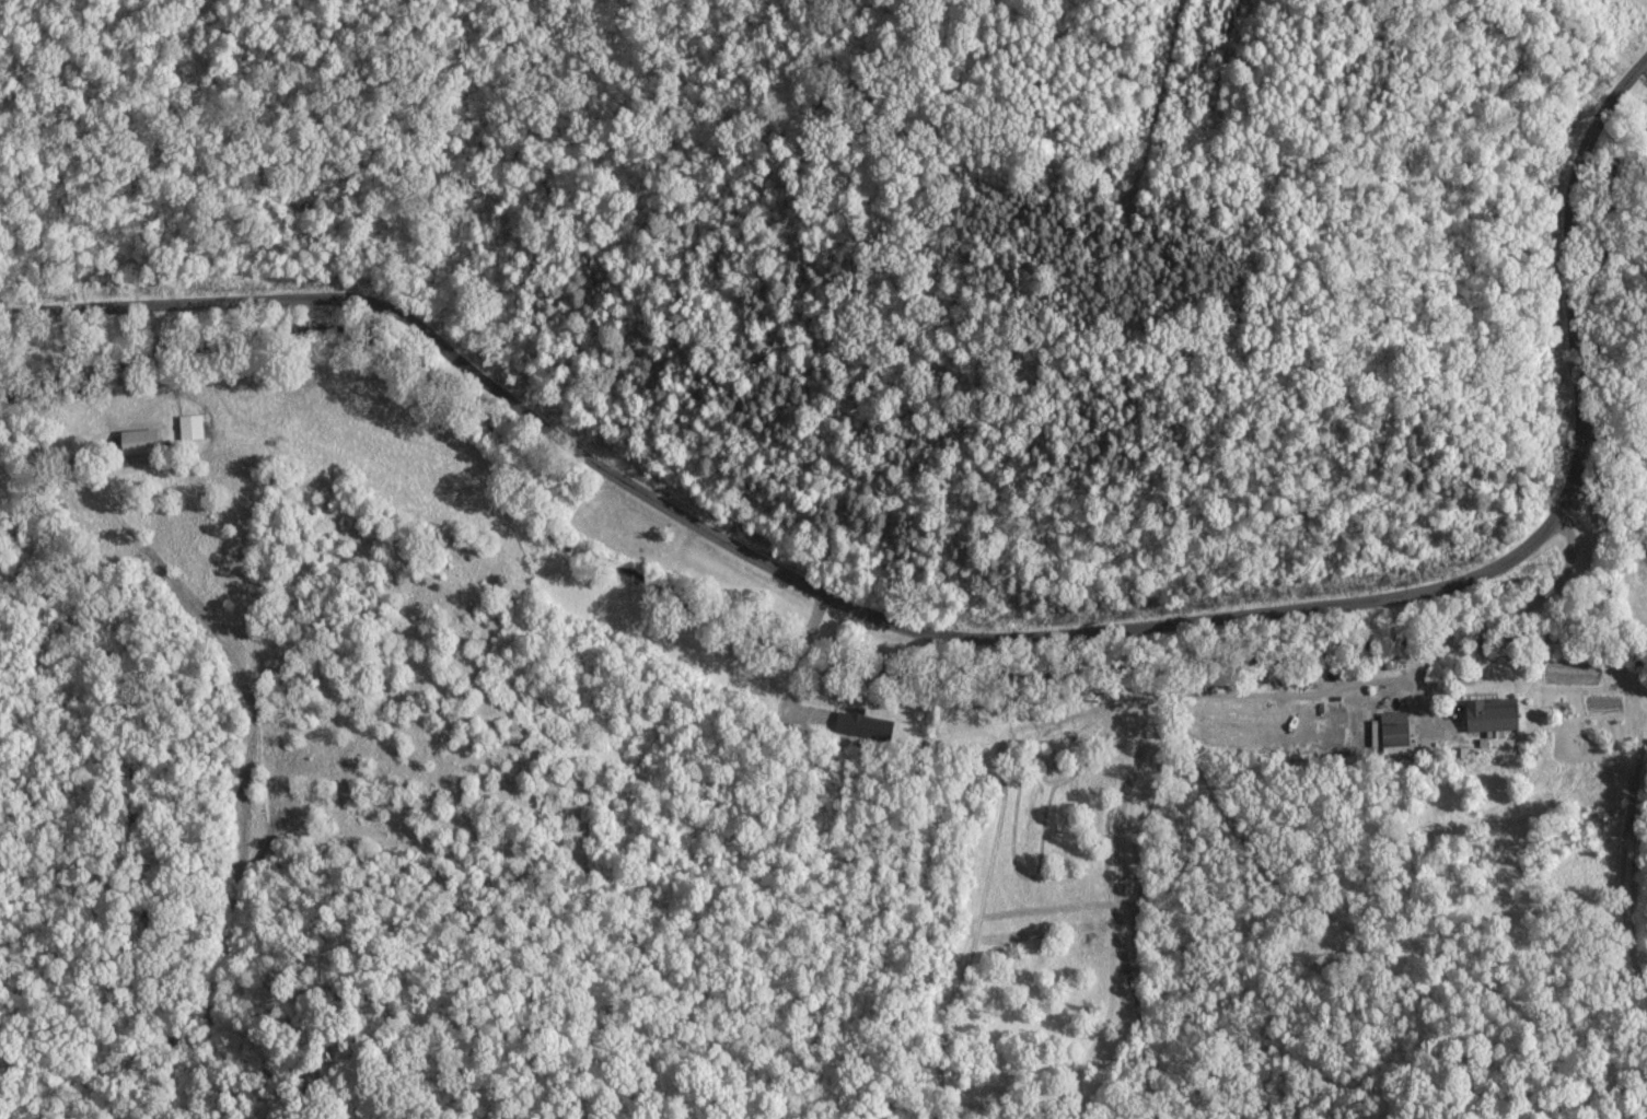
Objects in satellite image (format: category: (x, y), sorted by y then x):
road: (193, 326)
building: (136, 442)
road: (1587, 499)
road: (1601, 502)
road: (1499, 615)
road: (986, 638)
road: (985, 658)
building: (1486, 714)
building: (861, 725)
building: (1390, 733)

